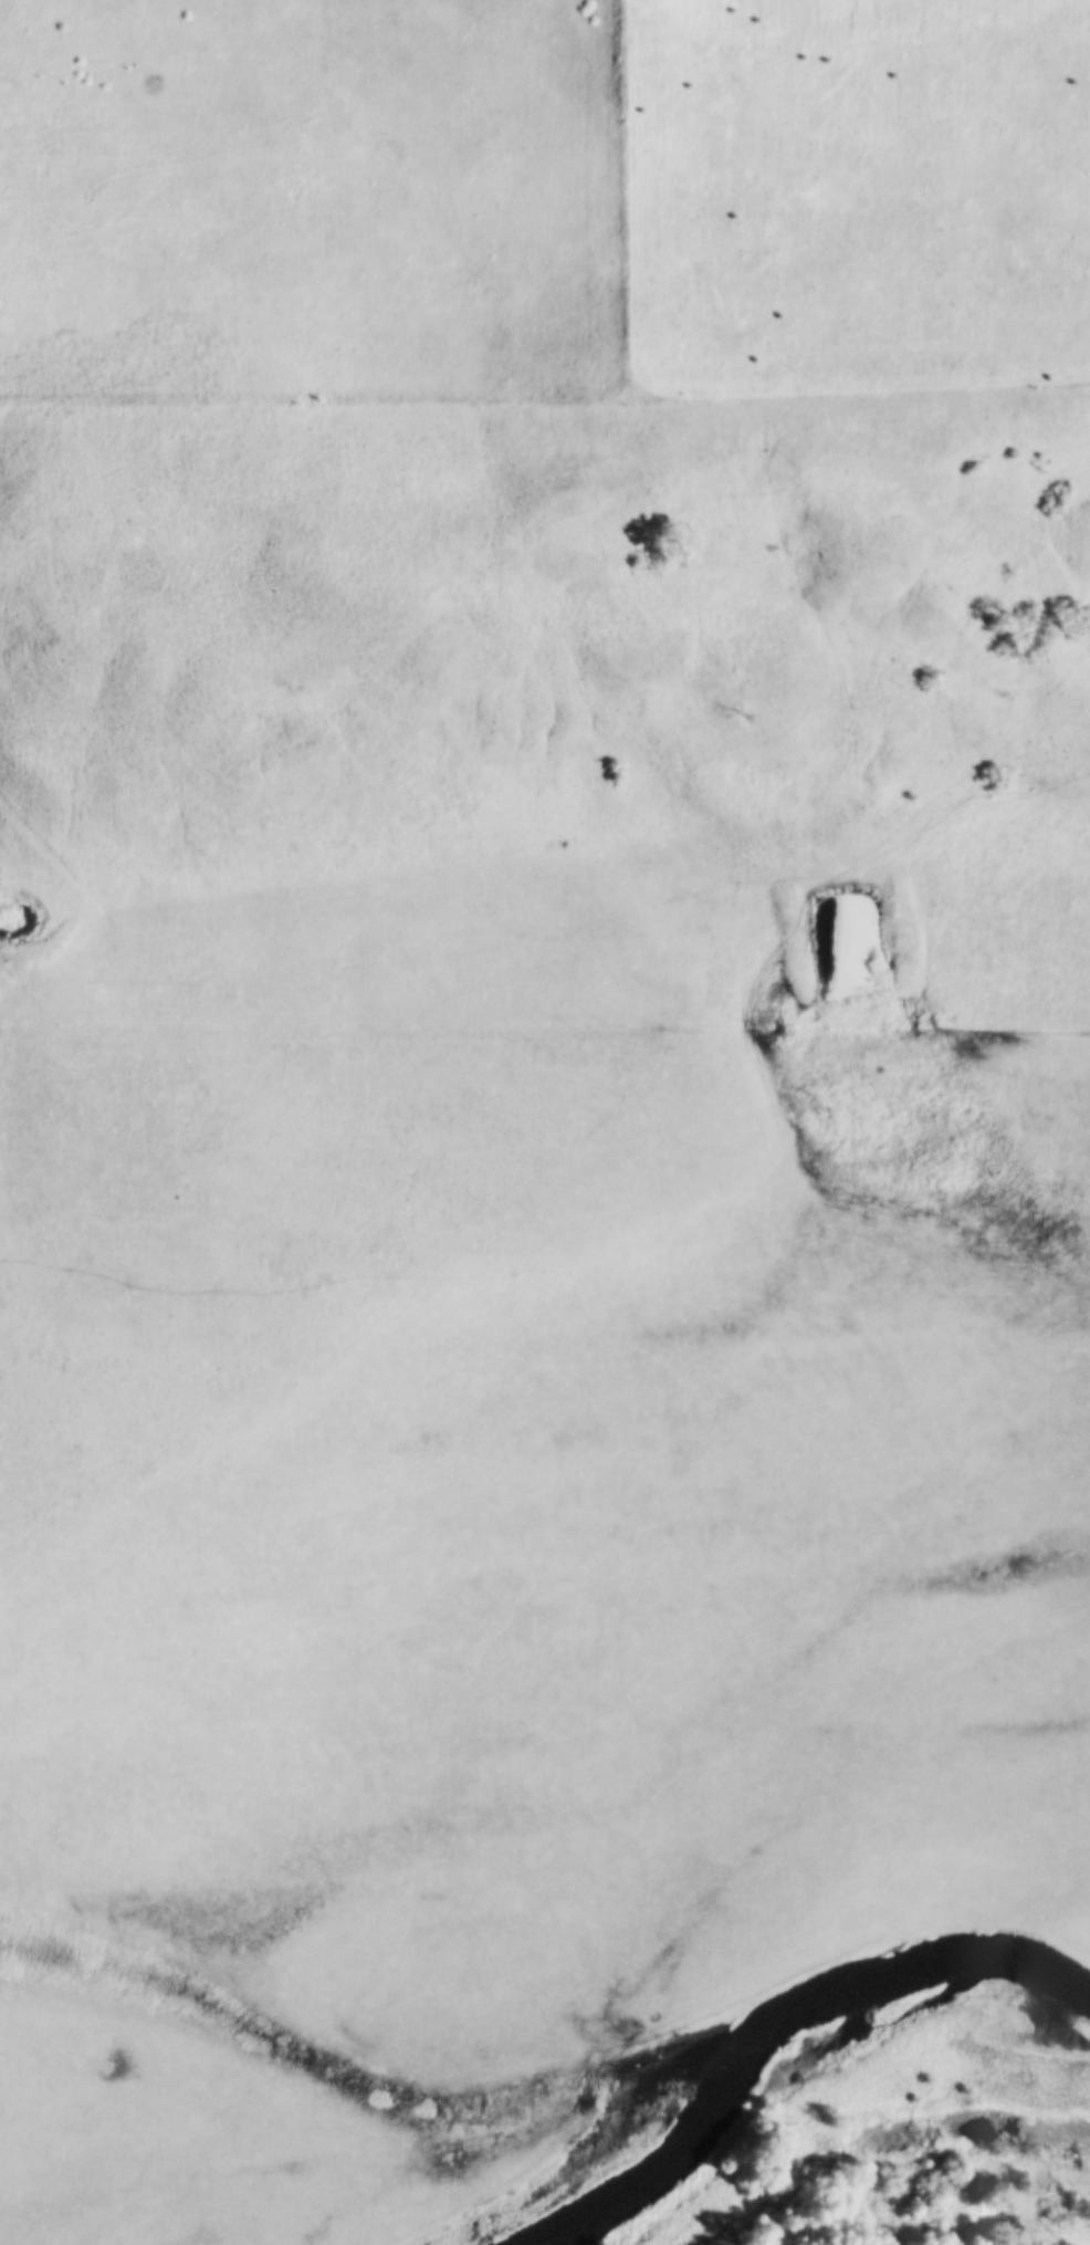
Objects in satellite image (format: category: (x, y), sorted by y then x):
river: (752, 2015)

